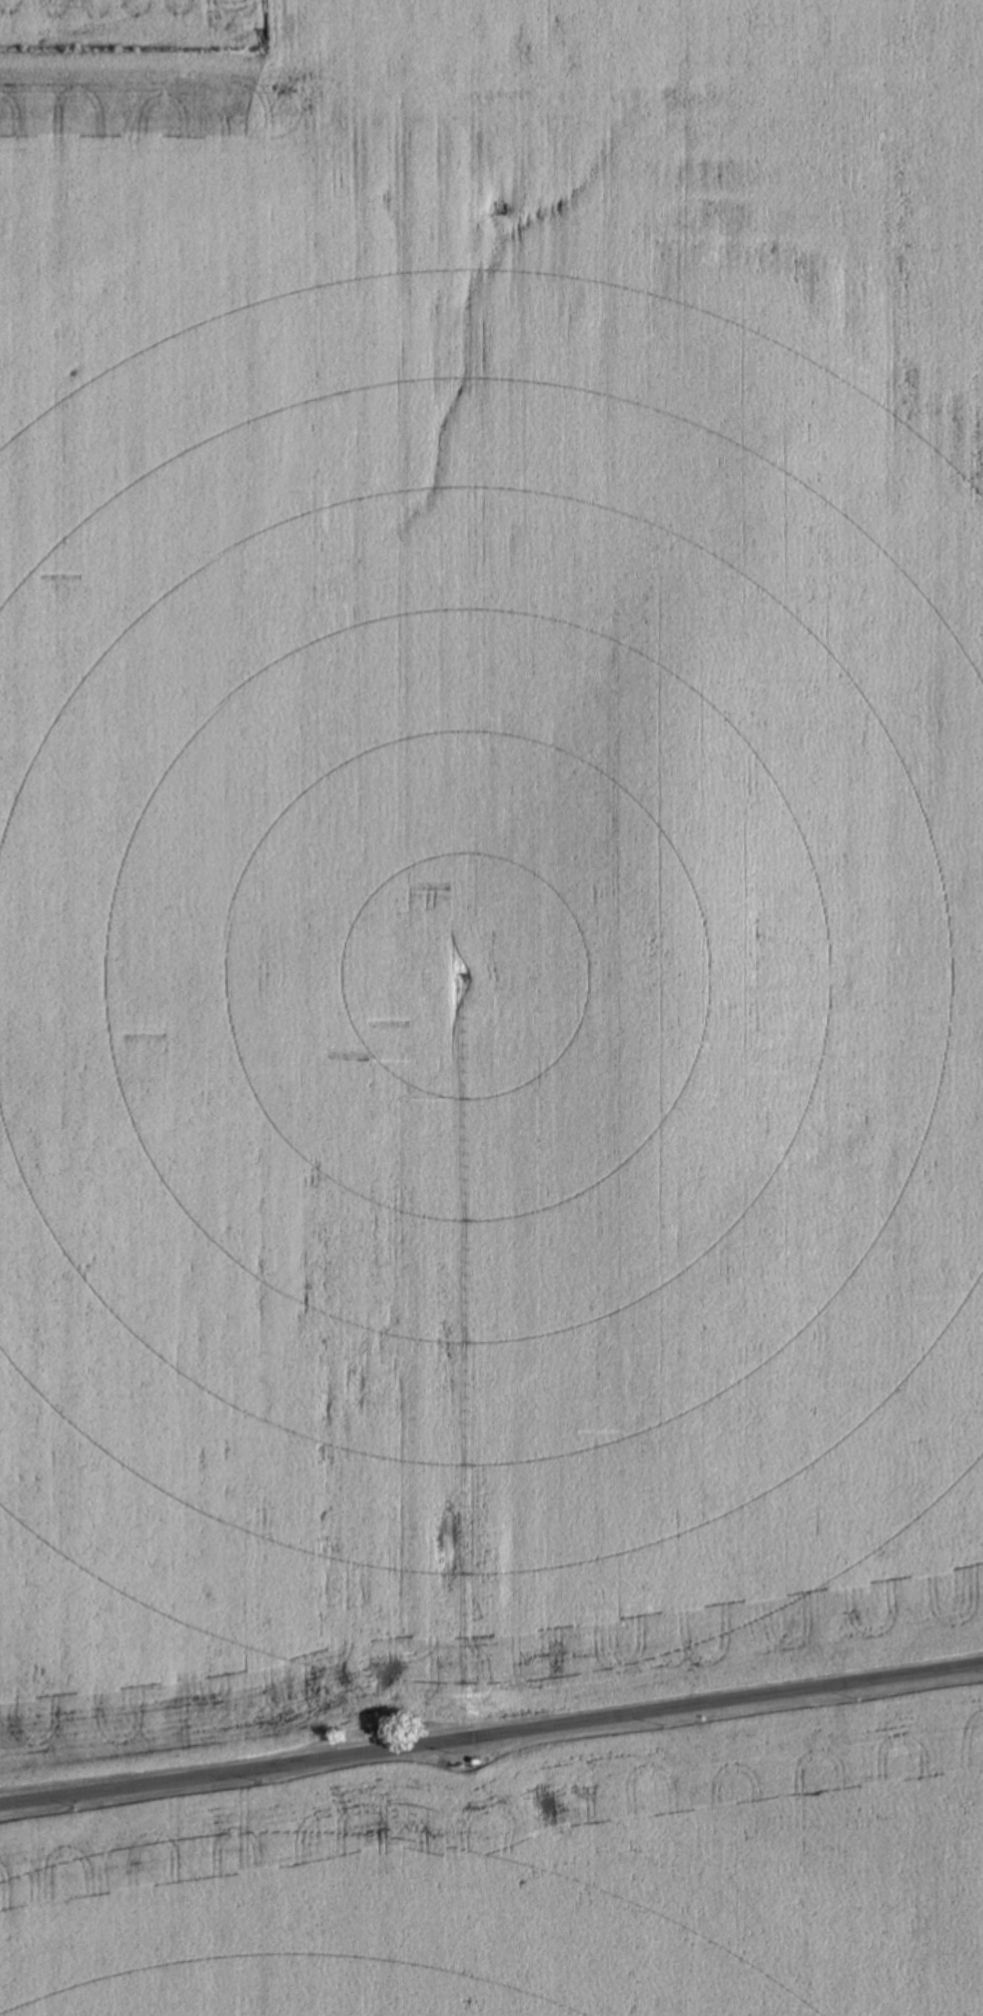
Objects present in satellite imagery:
road: (491, 1744)

